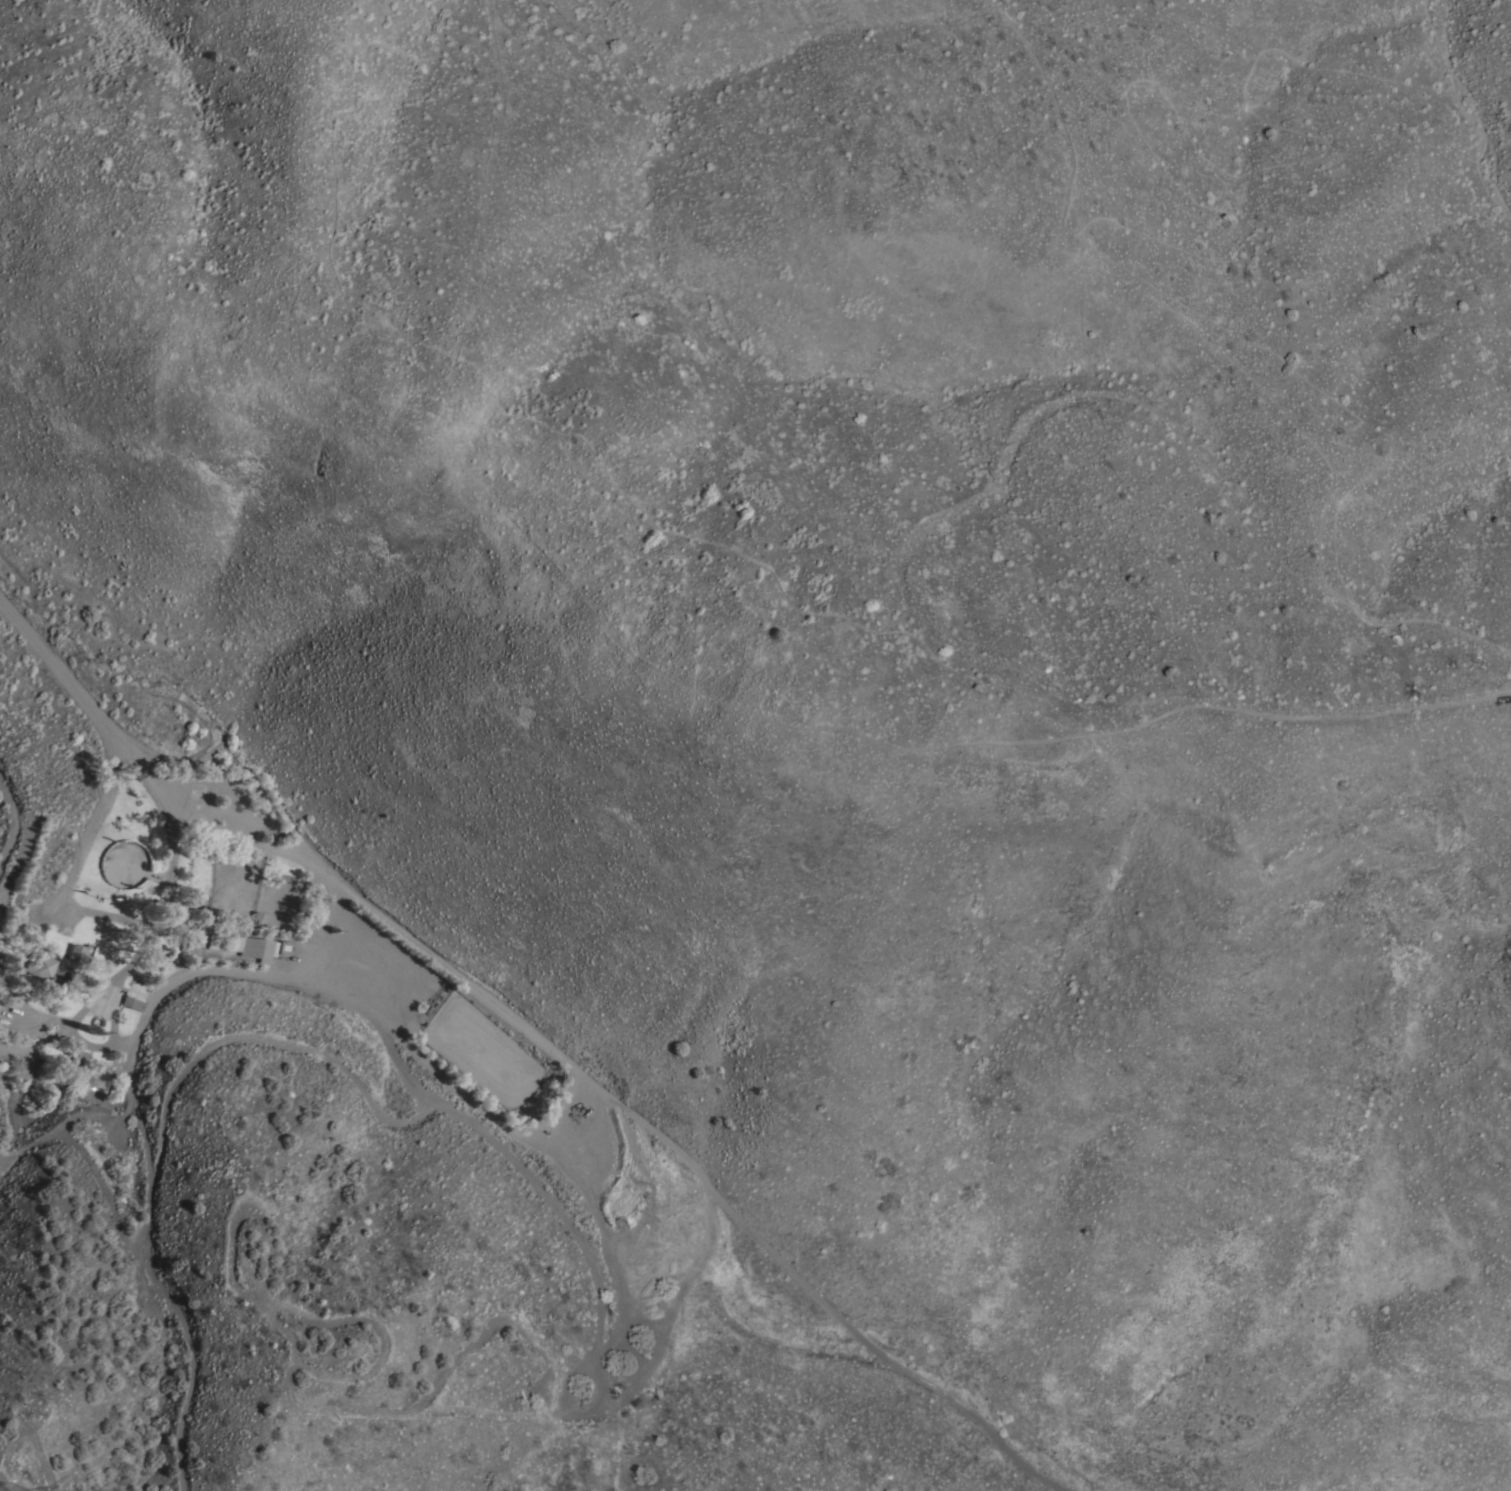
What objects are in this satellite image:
road: (10, 821)
building: (258, 918)
building: (235, 943)
building: (189, 944)
building: (283, 946)
building: (34, 968)
road: (111, 993)
building: (132, 1002)
building: (85, 1070)
building: (83, 1081)
building: (82, 1093)
road: (93, 1114)
road: (499, 1124)

